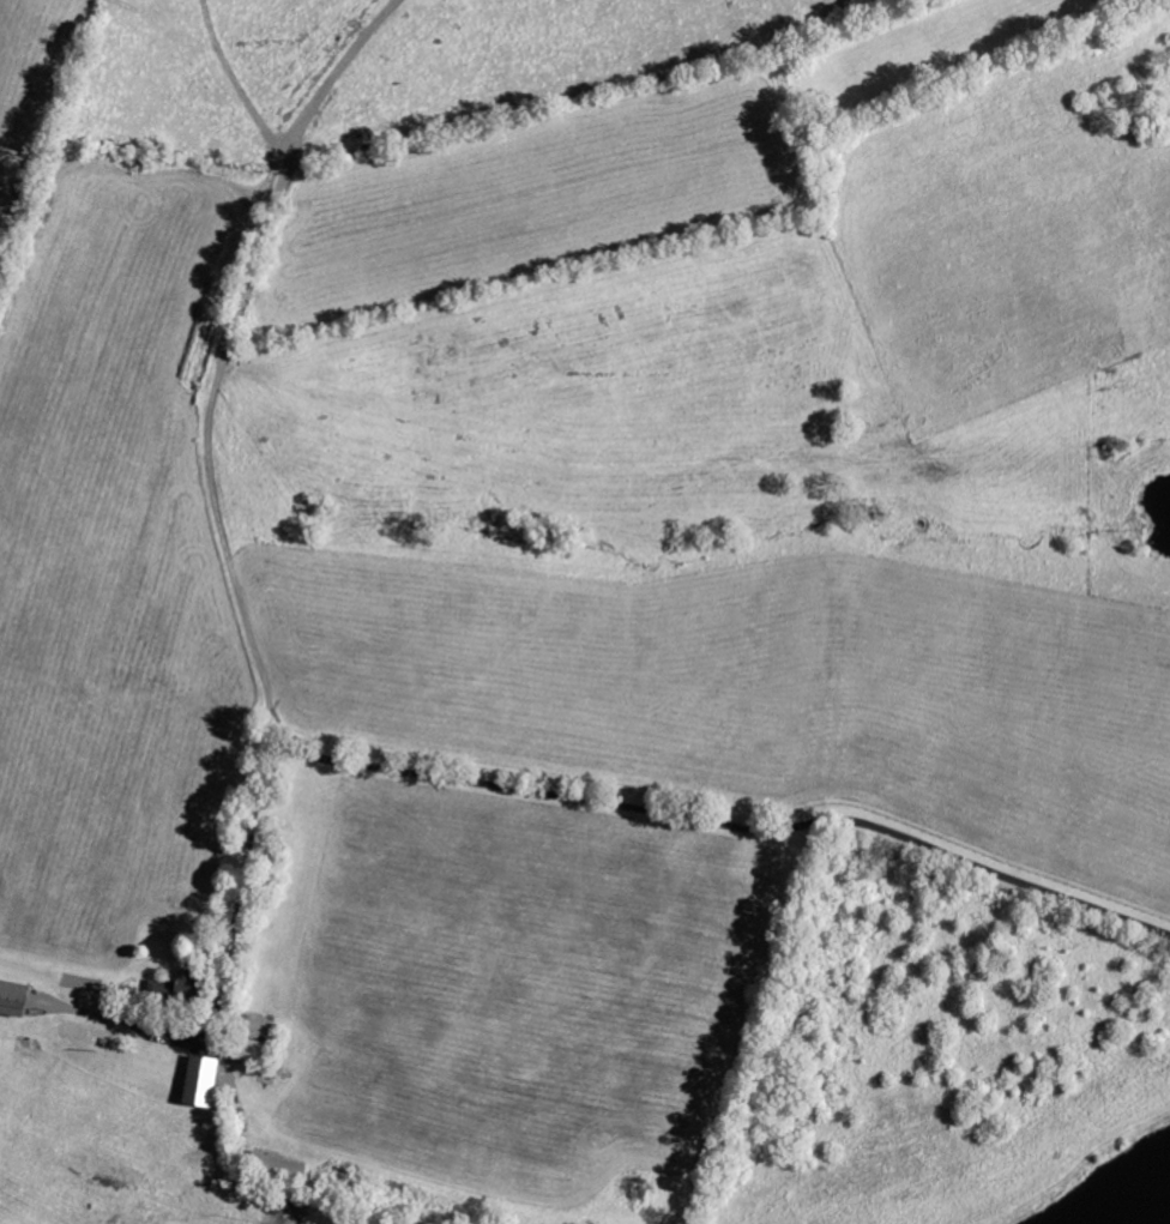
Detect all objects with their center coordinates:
road: (509, 791)
building: (199, 983)
building: (168, 990)
building: (19, 999)
building: (210, 1081)

